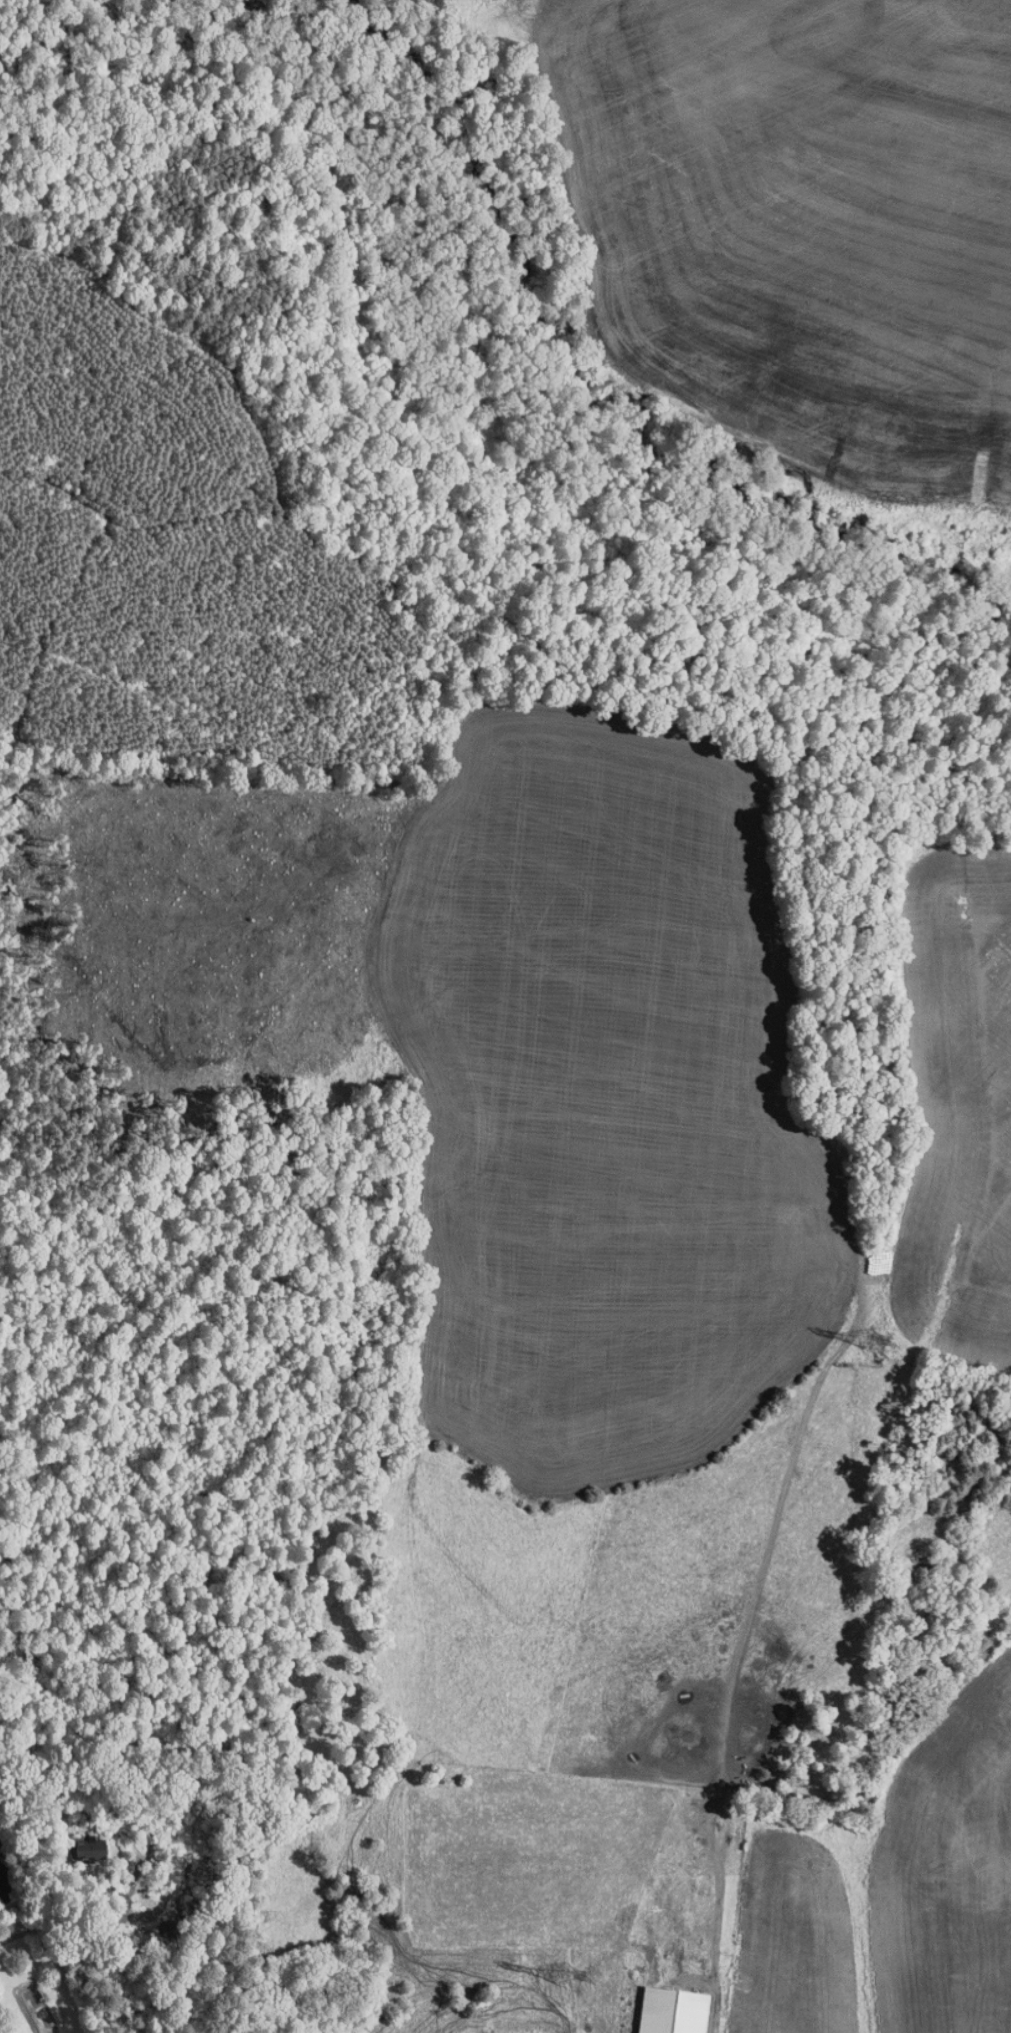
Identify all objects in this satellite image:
power tower: (876, 1343)
power tower: (568, 1977)
building: (671, 2010)

